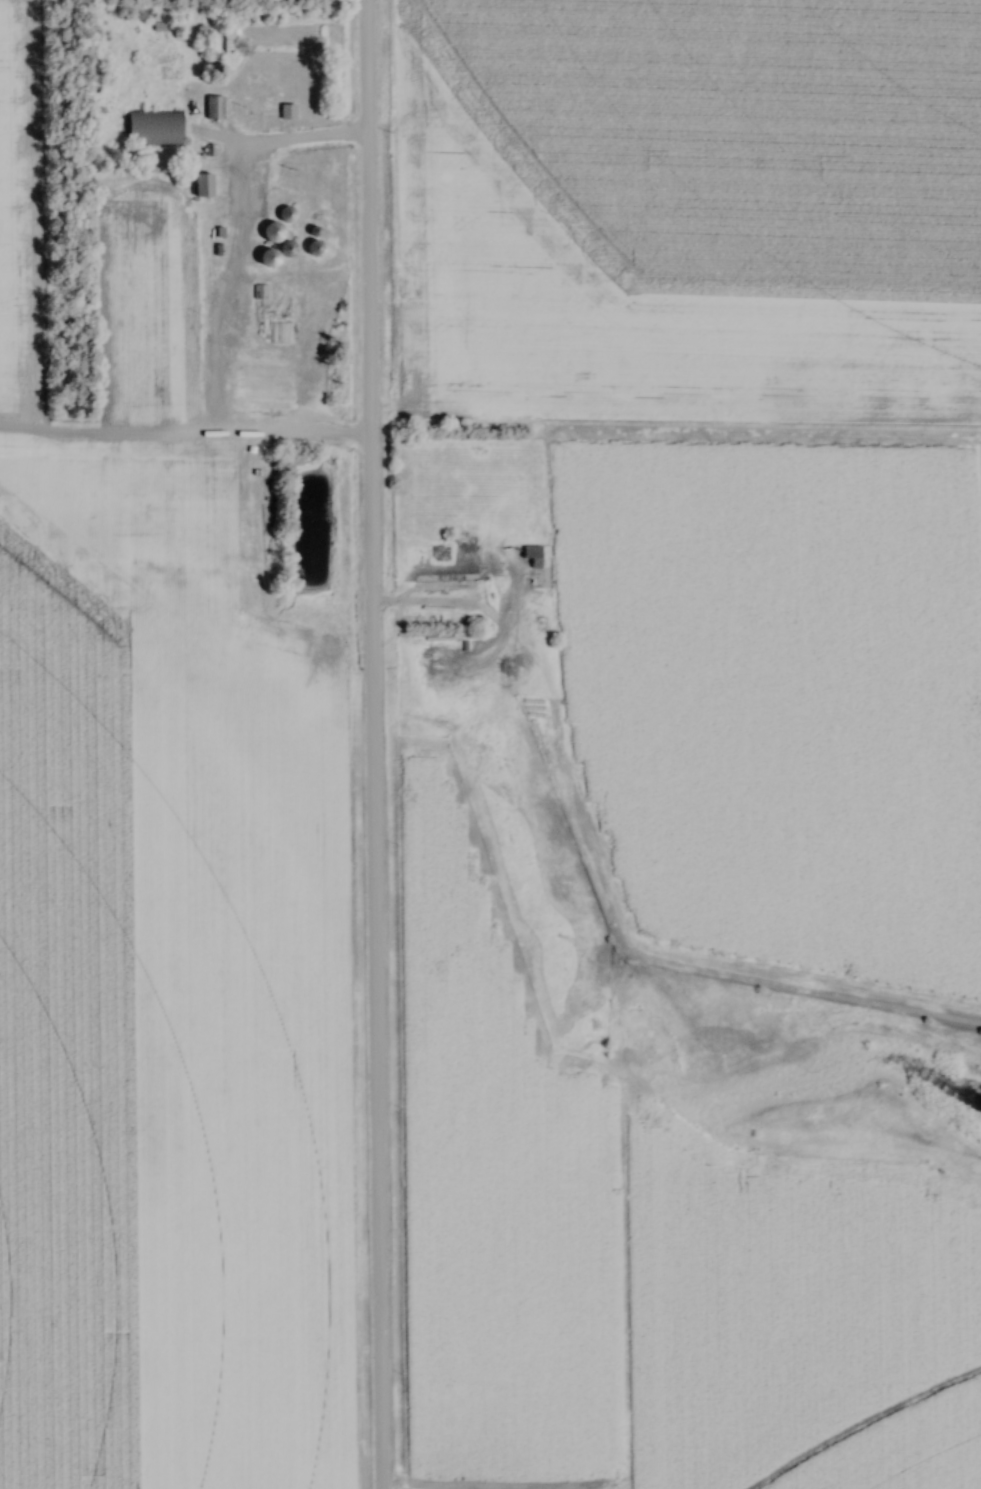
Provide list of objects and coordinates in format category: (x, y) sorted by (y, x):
building: (227, 47)
building: (255, 83)
building: (212, 109)
building: (286, 113)
building: (153, 129)
building: (201, 186)
building: (285, 218)
building: (313, 234)
building: (273, 236)
building: (286, 252)
building: (314, 252)
building: (267, 262)
building: (292, 331)
building: (532, 557)
building: (462, 645)
road: (369, 744)

